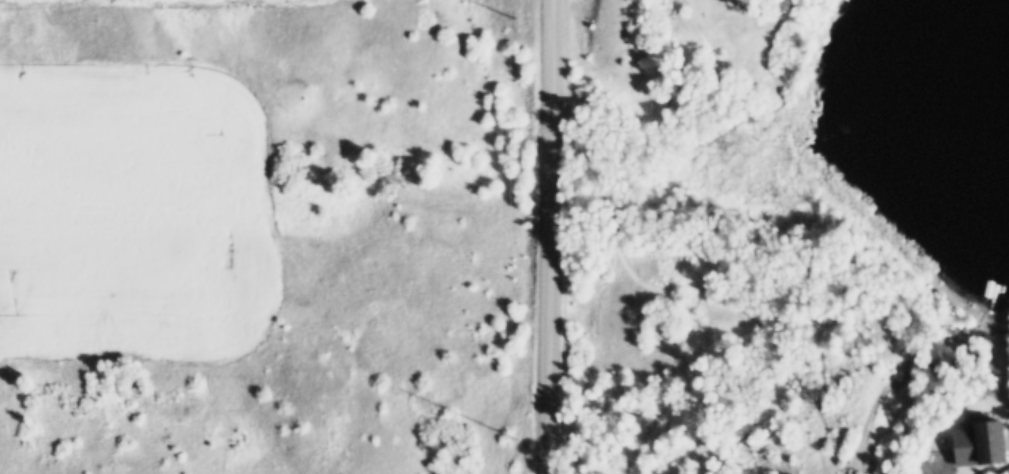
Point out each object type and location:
road: (548, 237)
building: (976, 440)

